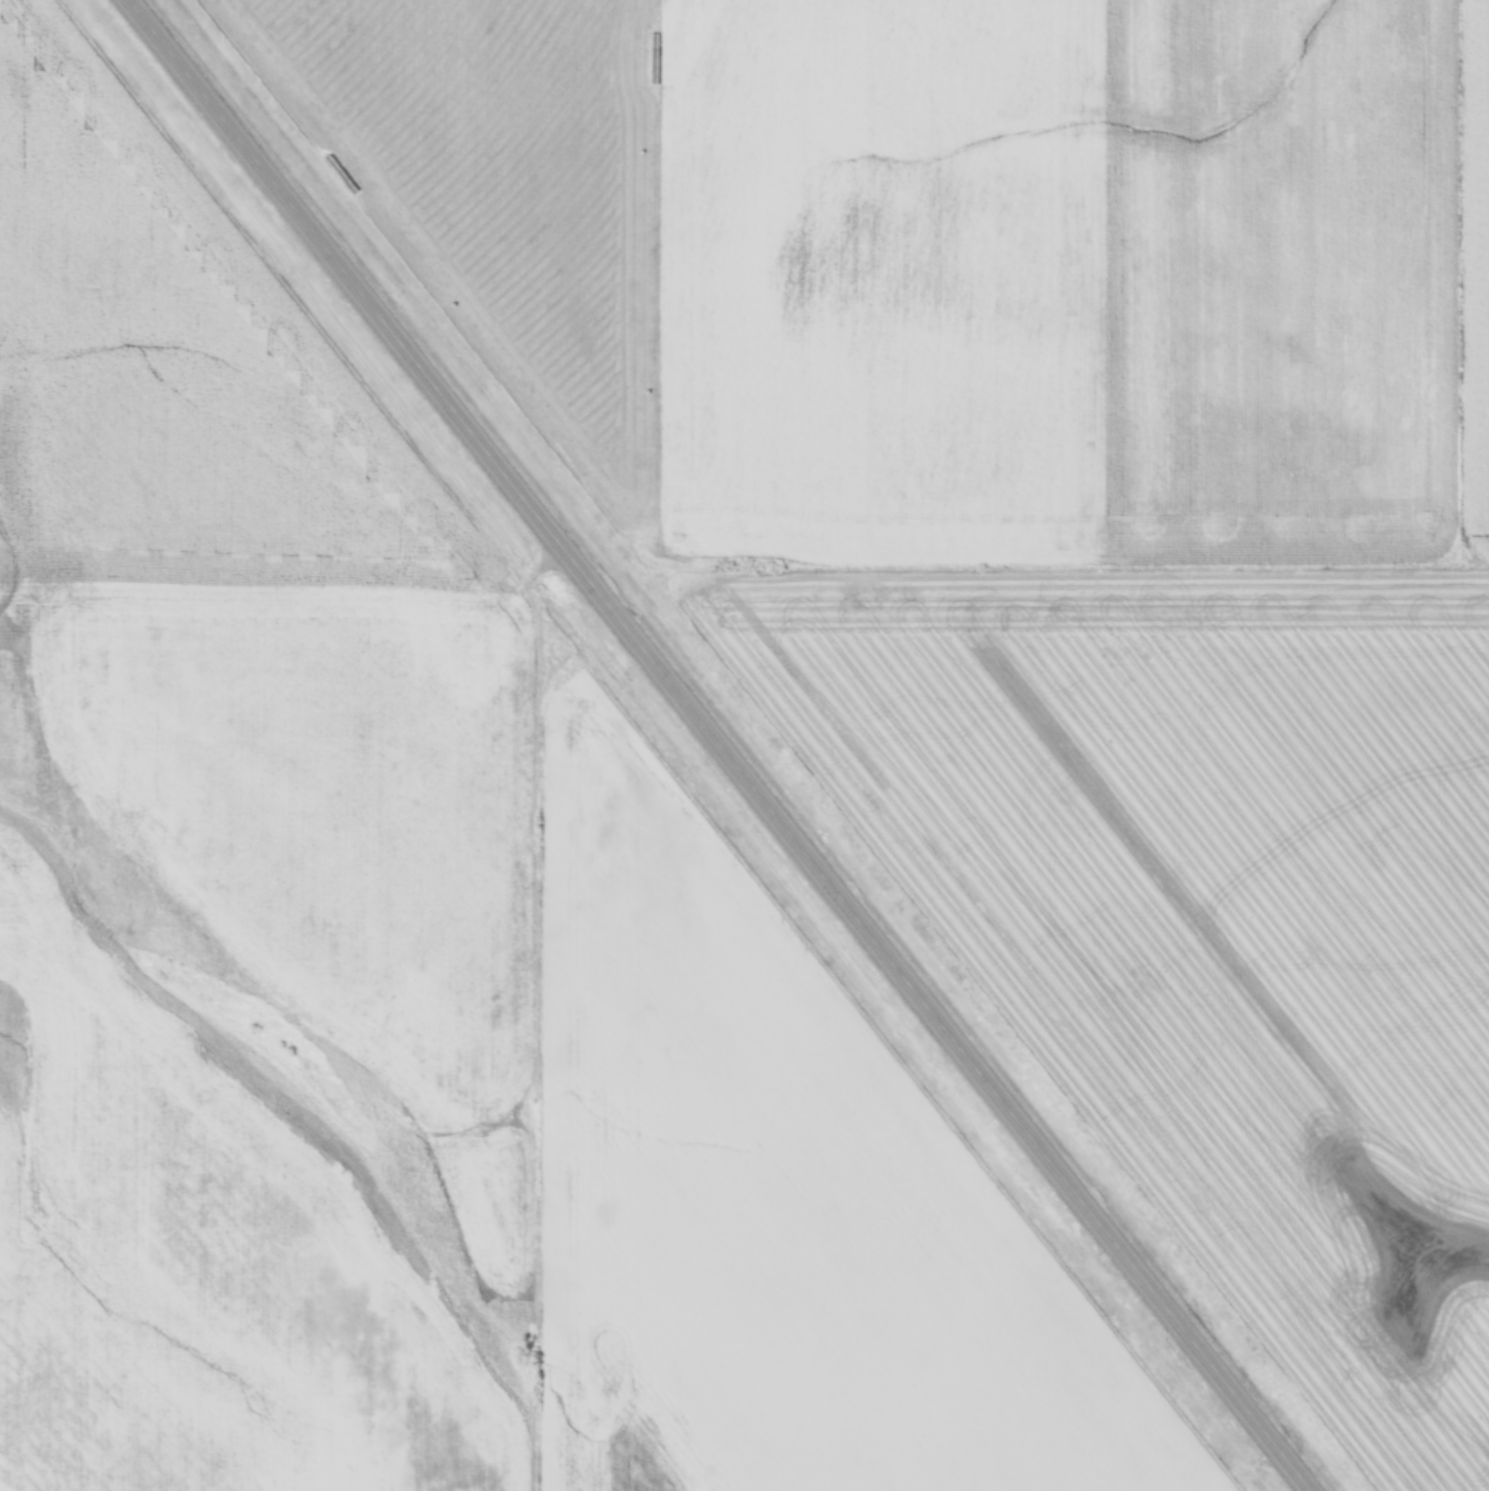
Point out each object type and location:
road: (720, 745)

